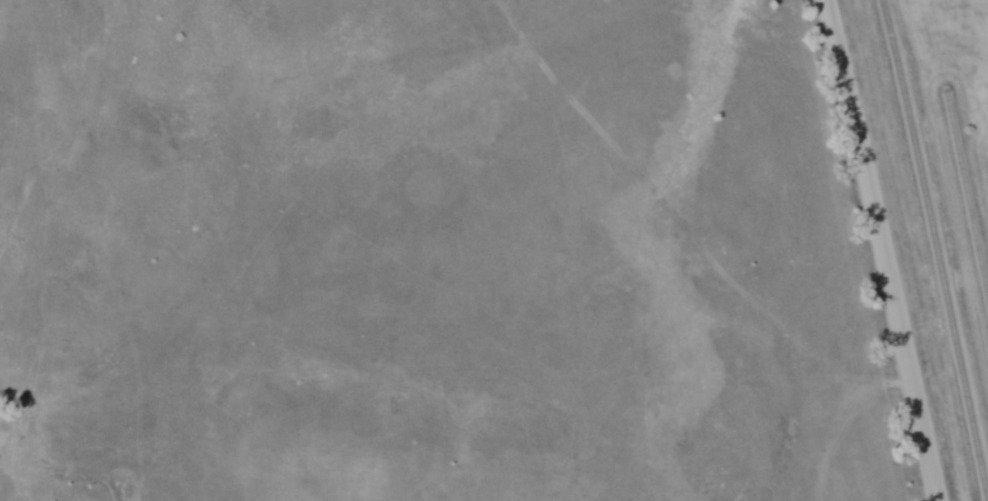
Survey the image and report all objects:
railway: (966, 201)
road: (876, 250)
railway: (936, 250)

